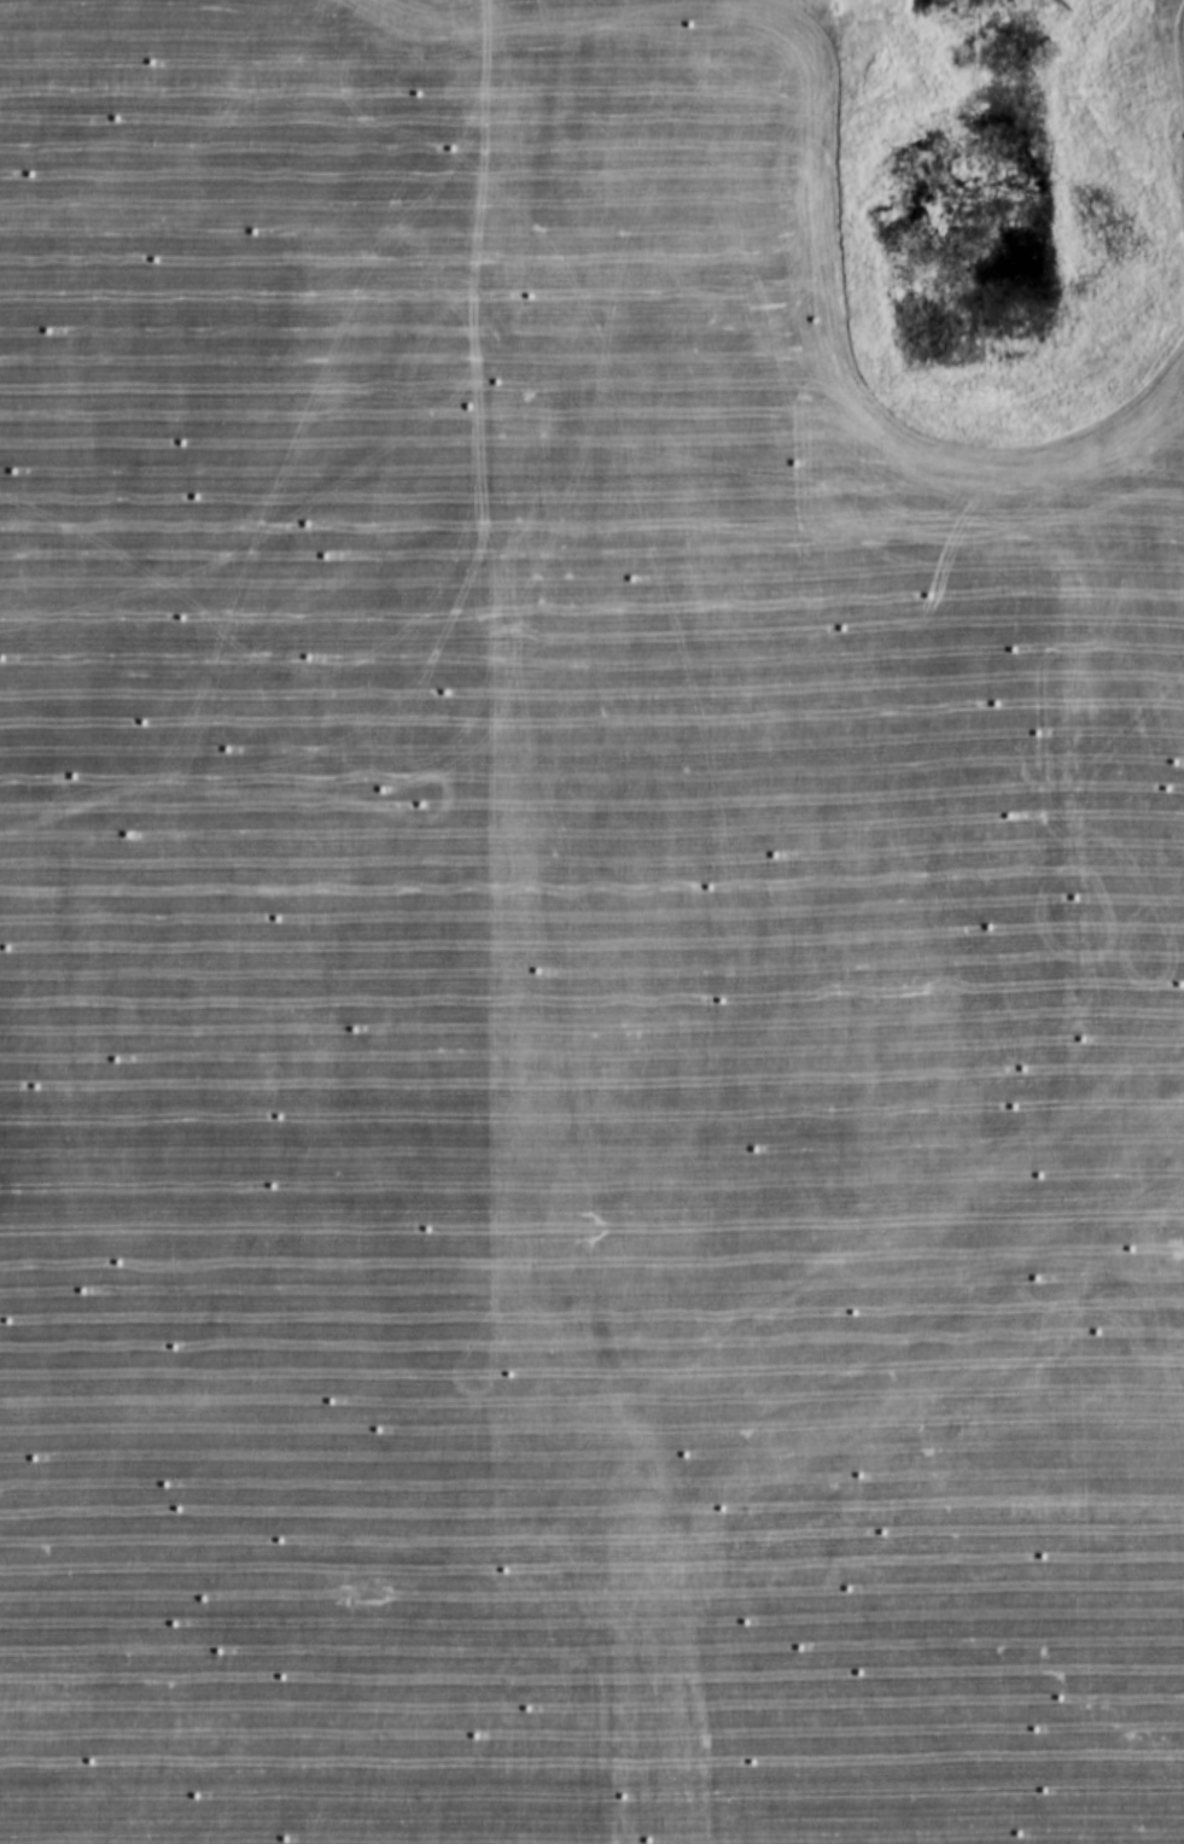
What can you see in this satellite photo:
quarry: (591, 922)

